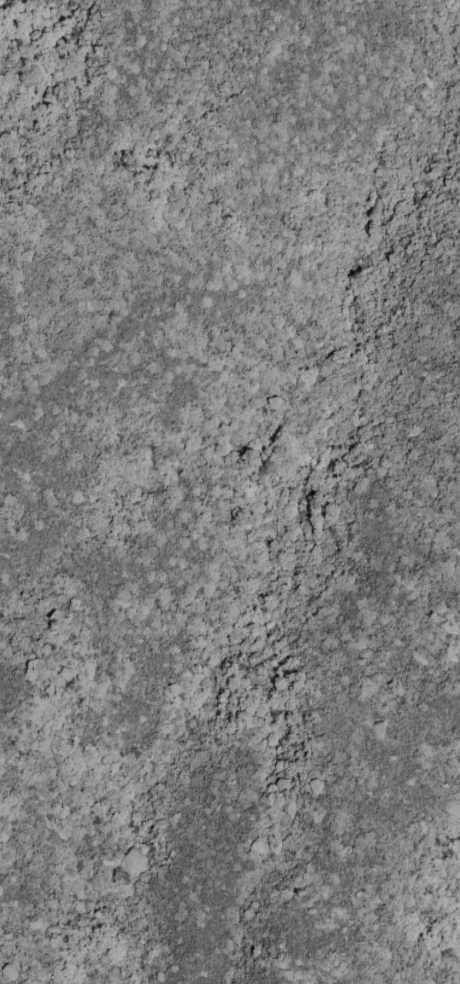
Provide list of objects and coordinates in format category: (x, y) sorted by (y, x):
building: (173, 689)
building: (377, 730)
building: (134, 861)

